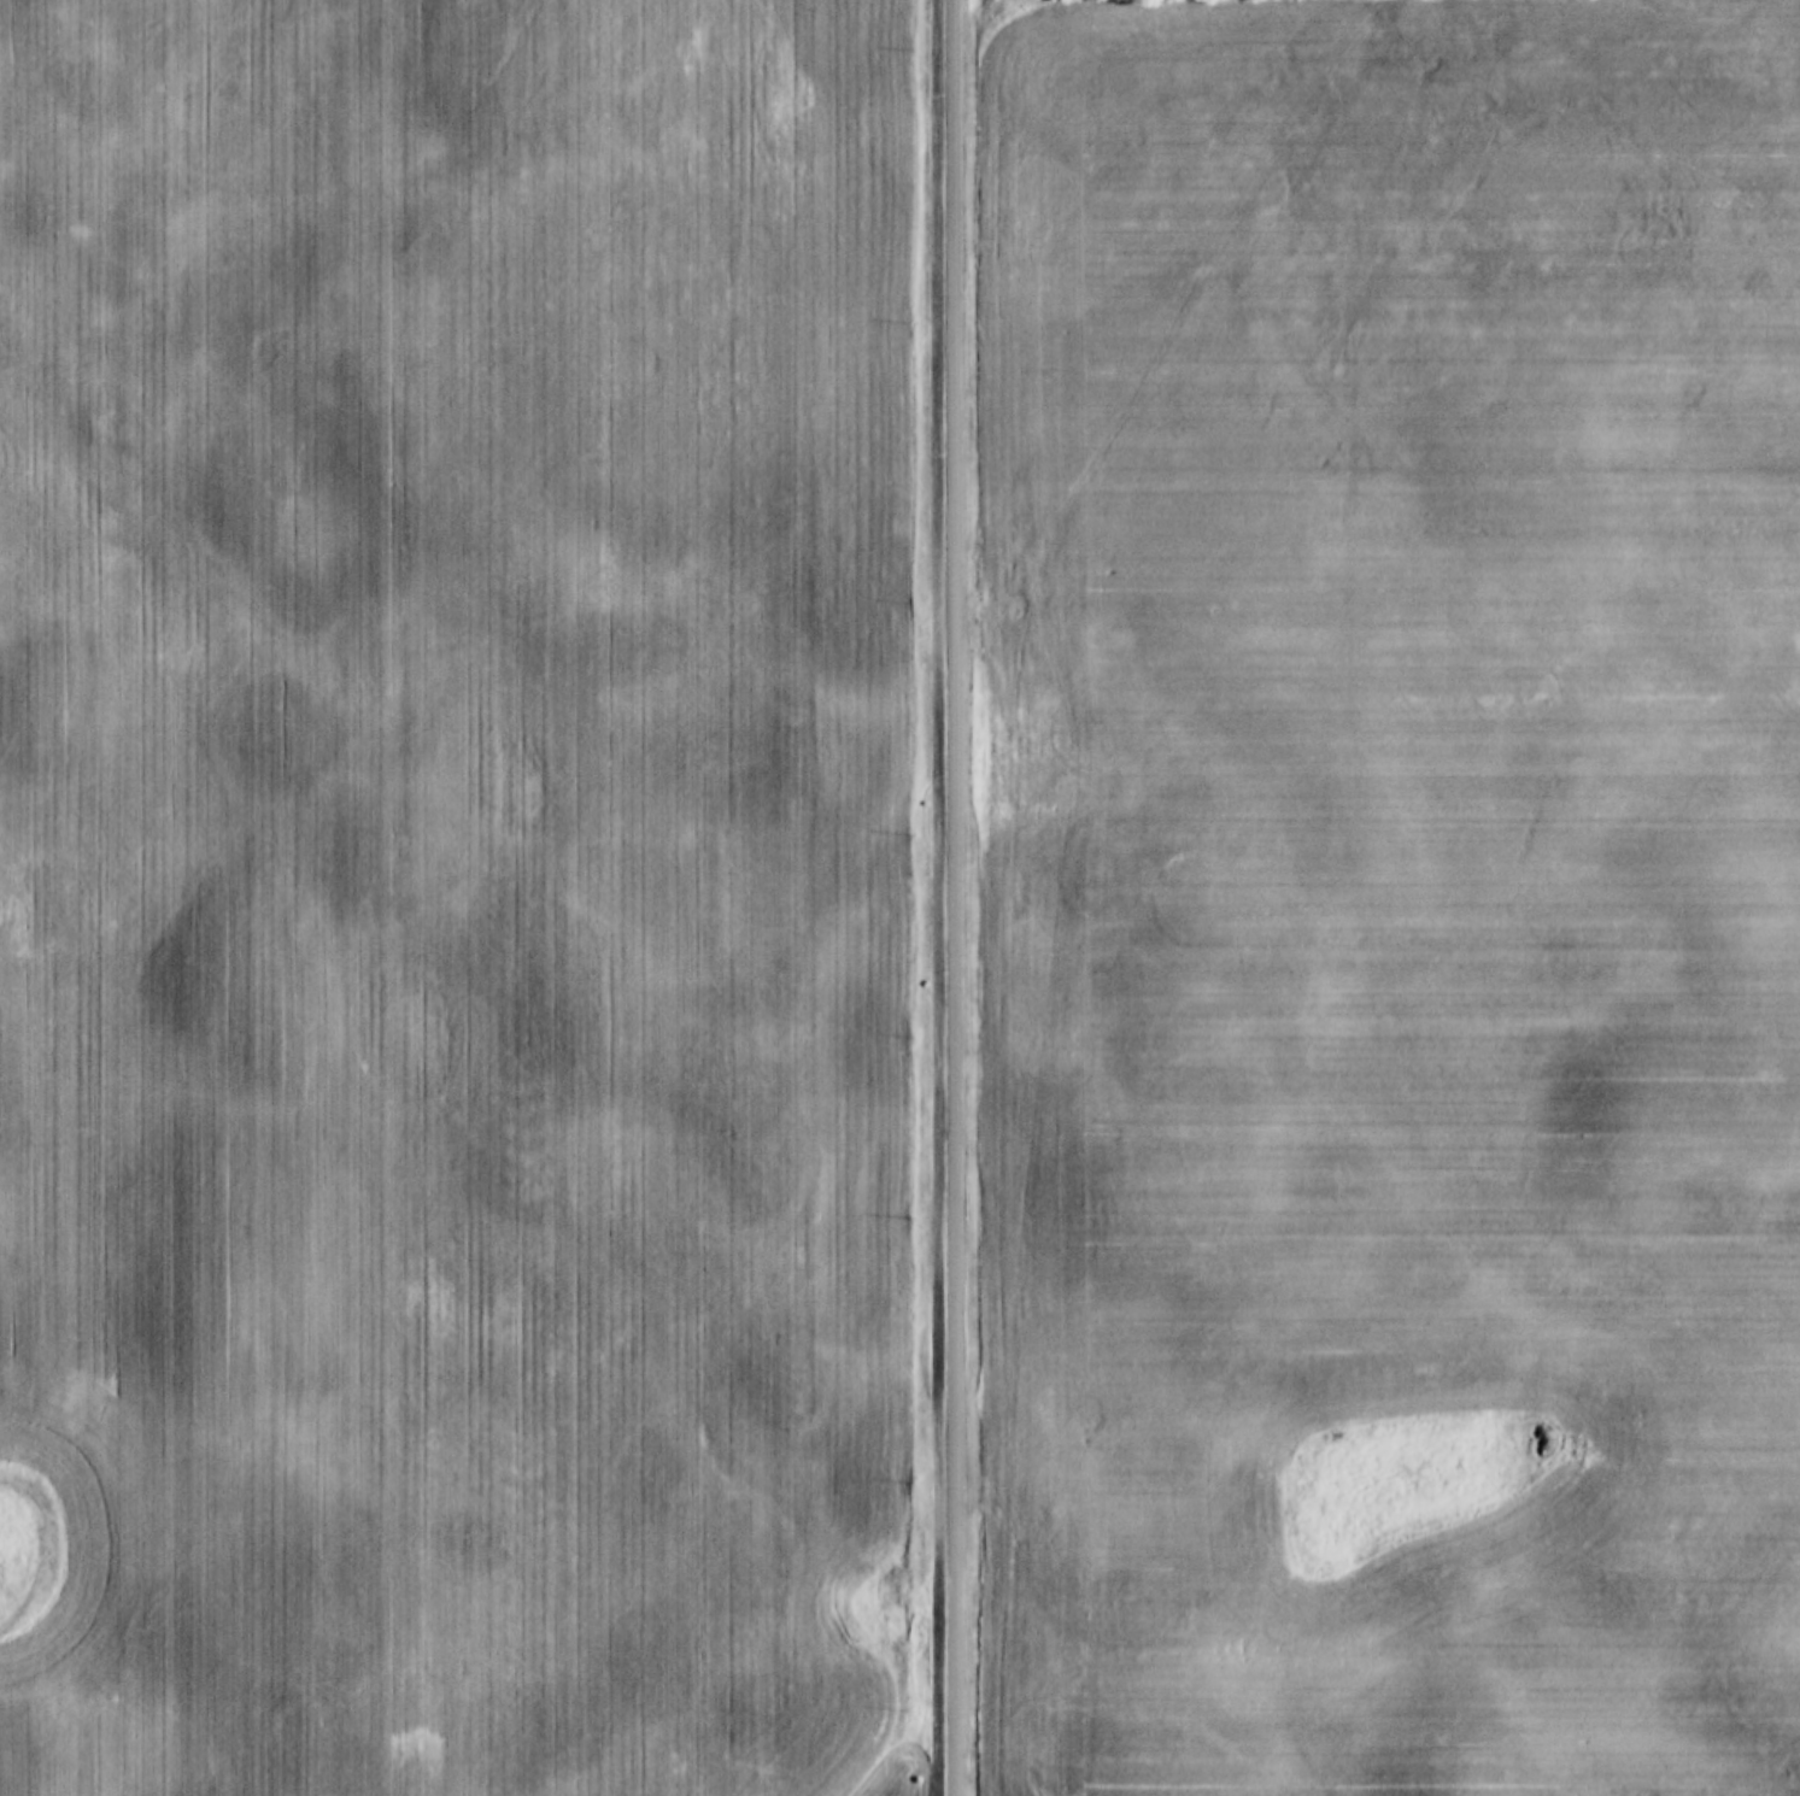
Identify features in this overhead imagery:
road: (954, 897)

